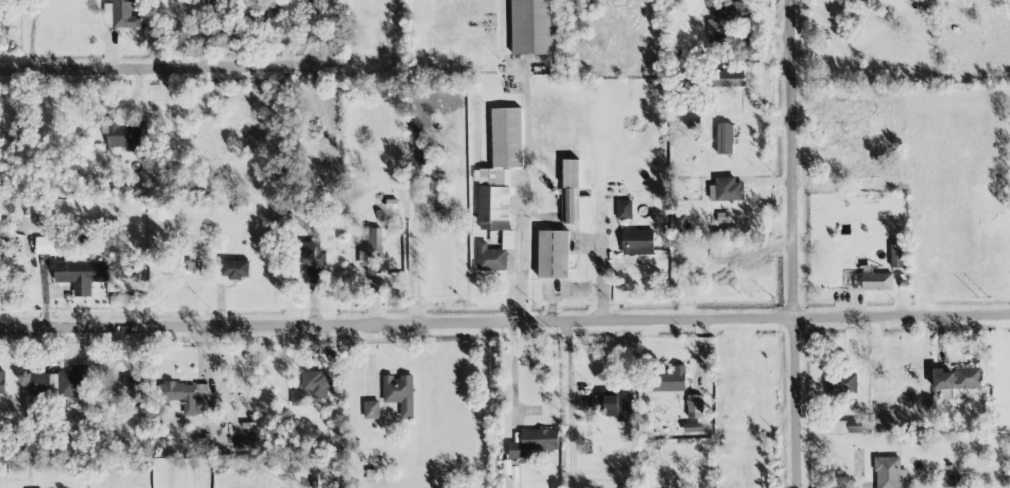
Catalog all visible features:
building: (122, 14)
building: (726, 24)
building: (534, 27)
road: (175, 76)
building: (728, 78)
building: (821, 106)
building: (124, 135)
building: (725, 139)
building: (876, 152)
building: (500, 169)
building: (858, 172)
building: (726, 190)
building: (574, 195)
road: (527, 198)
building: (624, 209)
building: (508, 240)
building: (638, 242)
road: (795, 243)
building: (46, 245)
building: (553, 254)
building: (898, 256)
building: (371, 258)
building: (491, 258)
building: (312, 259)
building: (235, 269)
building: (82, 275)
building: (877, 281)
road: (505, 327)
building: (669, 379)
building: (958, 379)
building: (2, 383)
building: (62, 383)
building: (315, 383)
building: (841, 383)
building: (400, 393)
building: (186, 397)
road: (569, 406)
building: (615, 406)
road: (512, 408)
building: (371, 410)
building: (850, 427)
building: (533, 443)
building: (18, 469)
building: (889, 472)
building: (950, 481)

